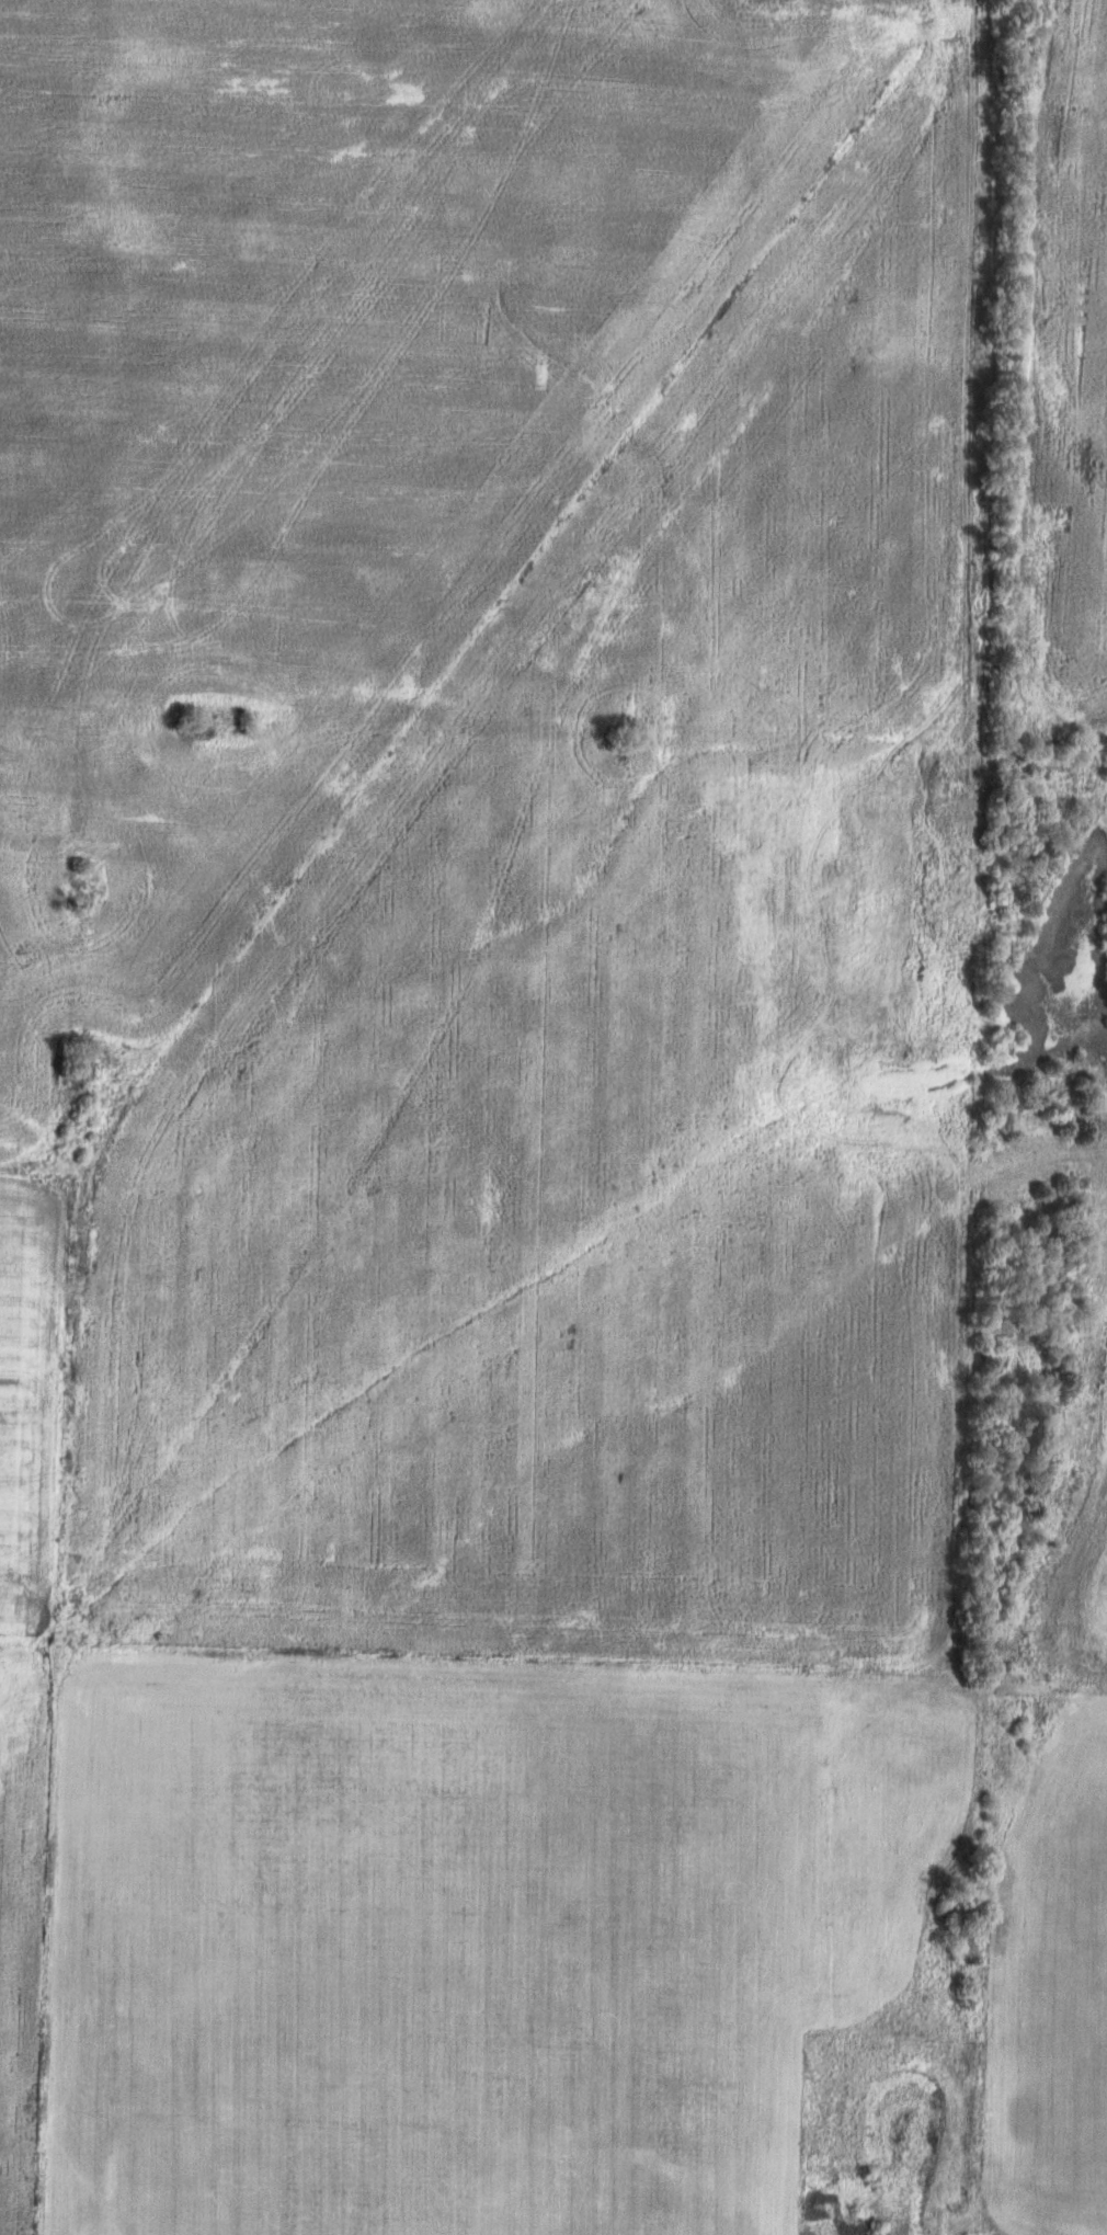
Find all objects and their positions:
road: (941, 2109)

